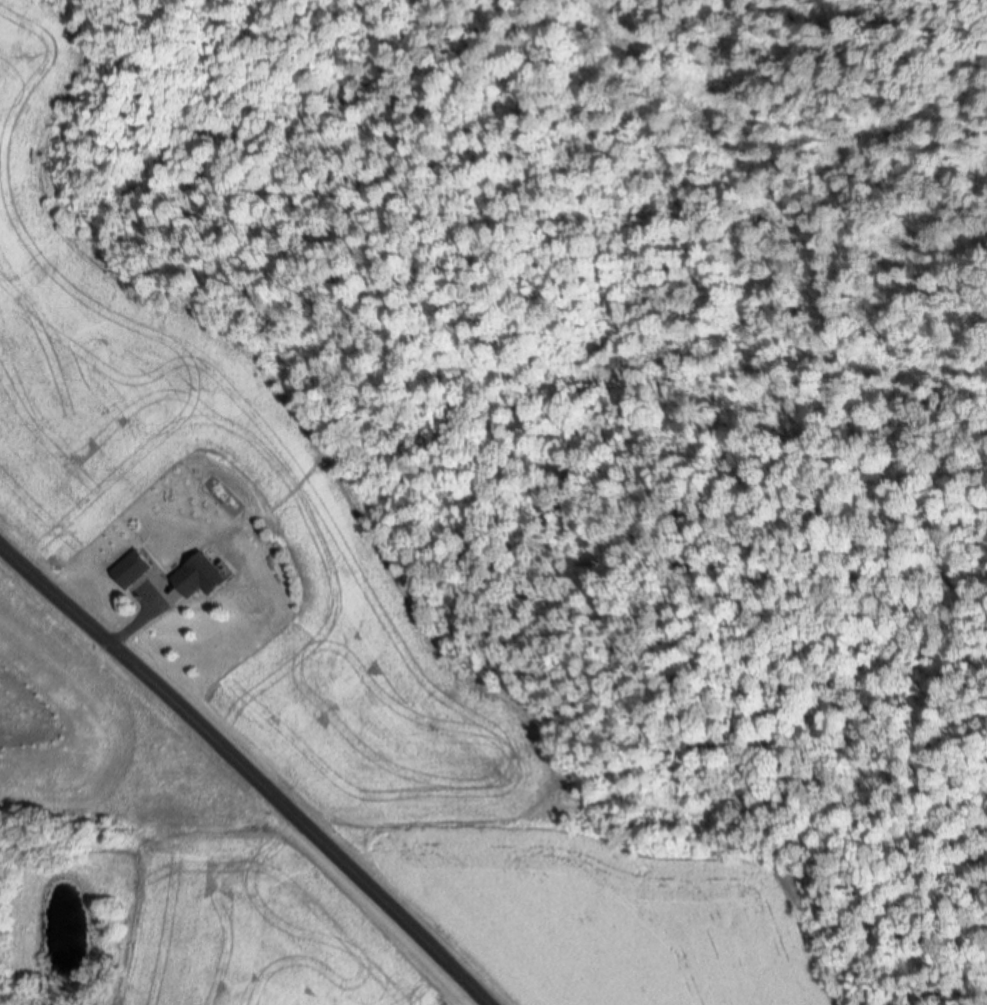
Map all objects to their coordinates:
building: (133, 569)
building: (204, 577)
road: (225, 758)

